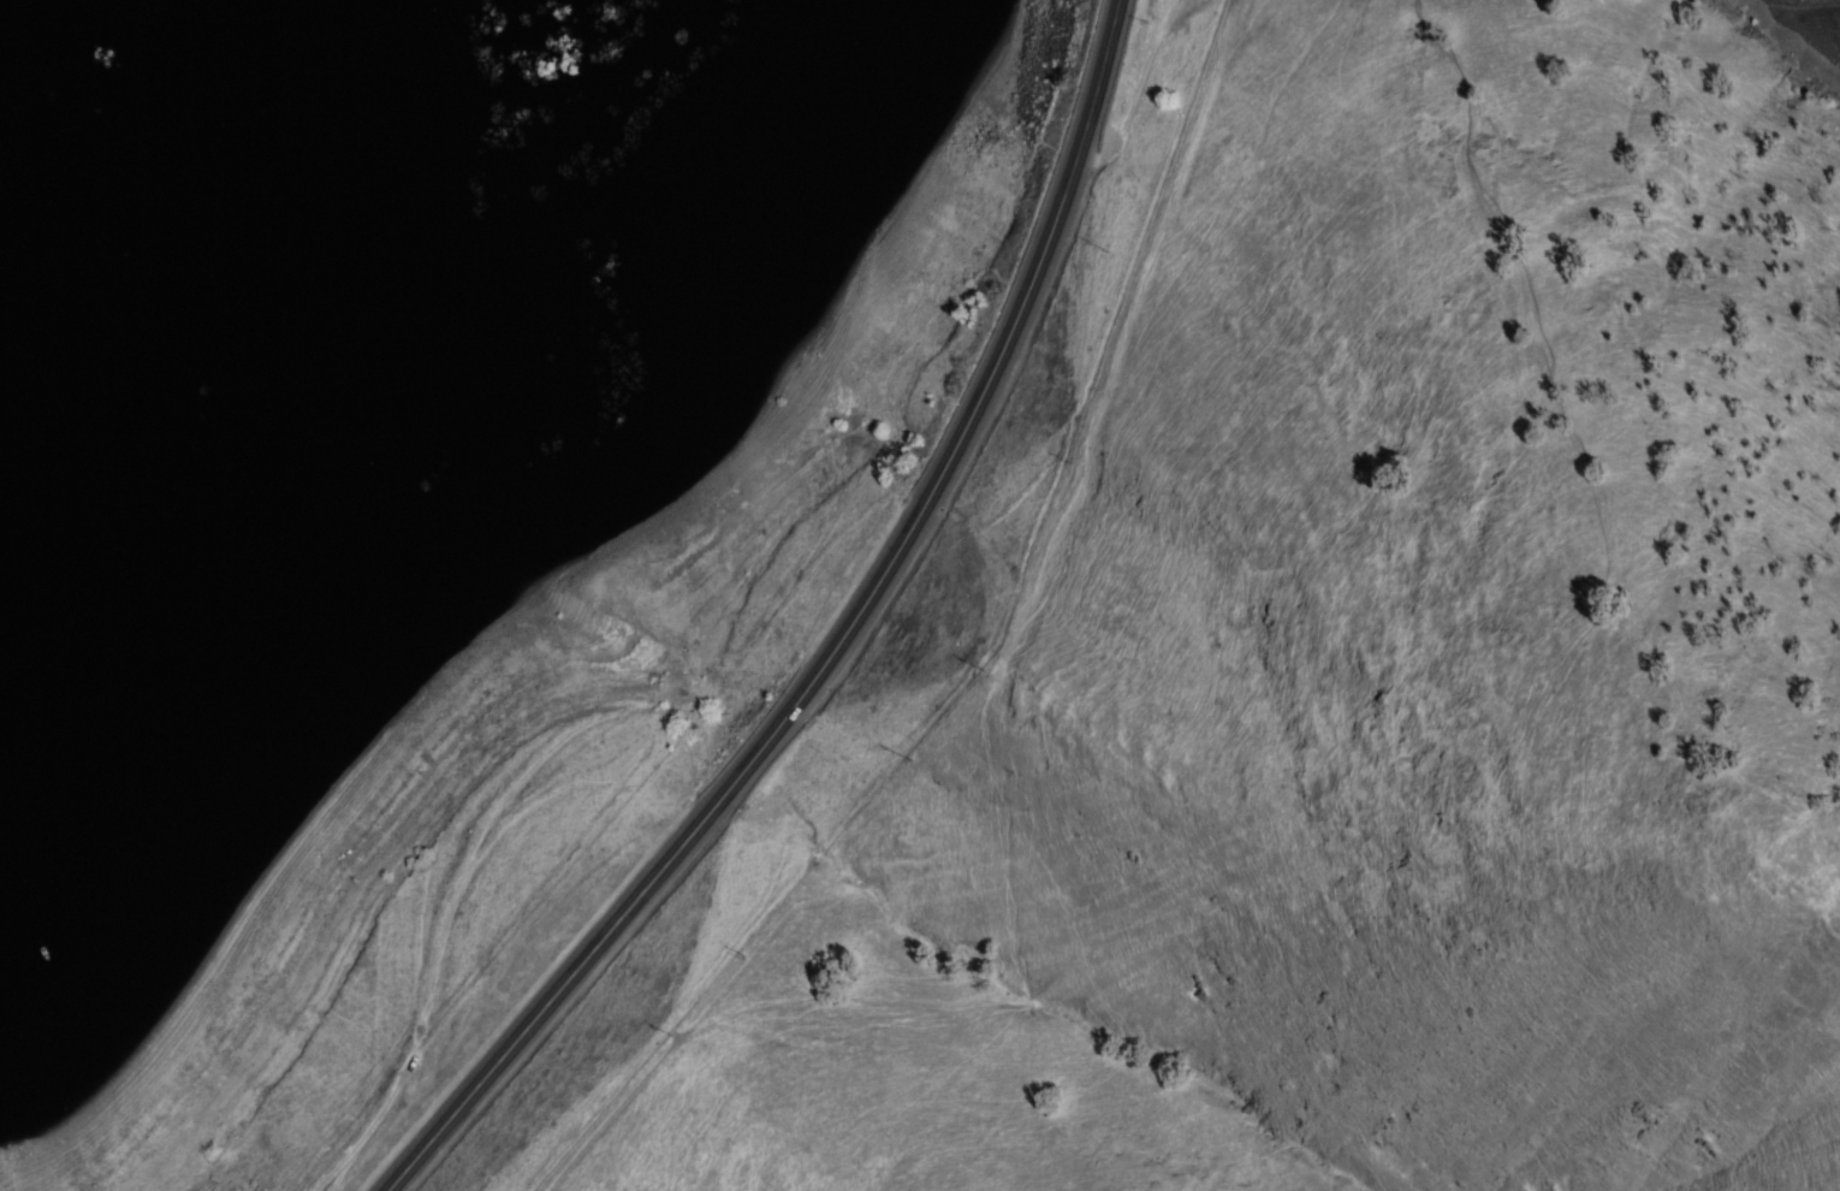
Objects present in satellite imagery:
river: (338, 369)
road: (837, 645)

